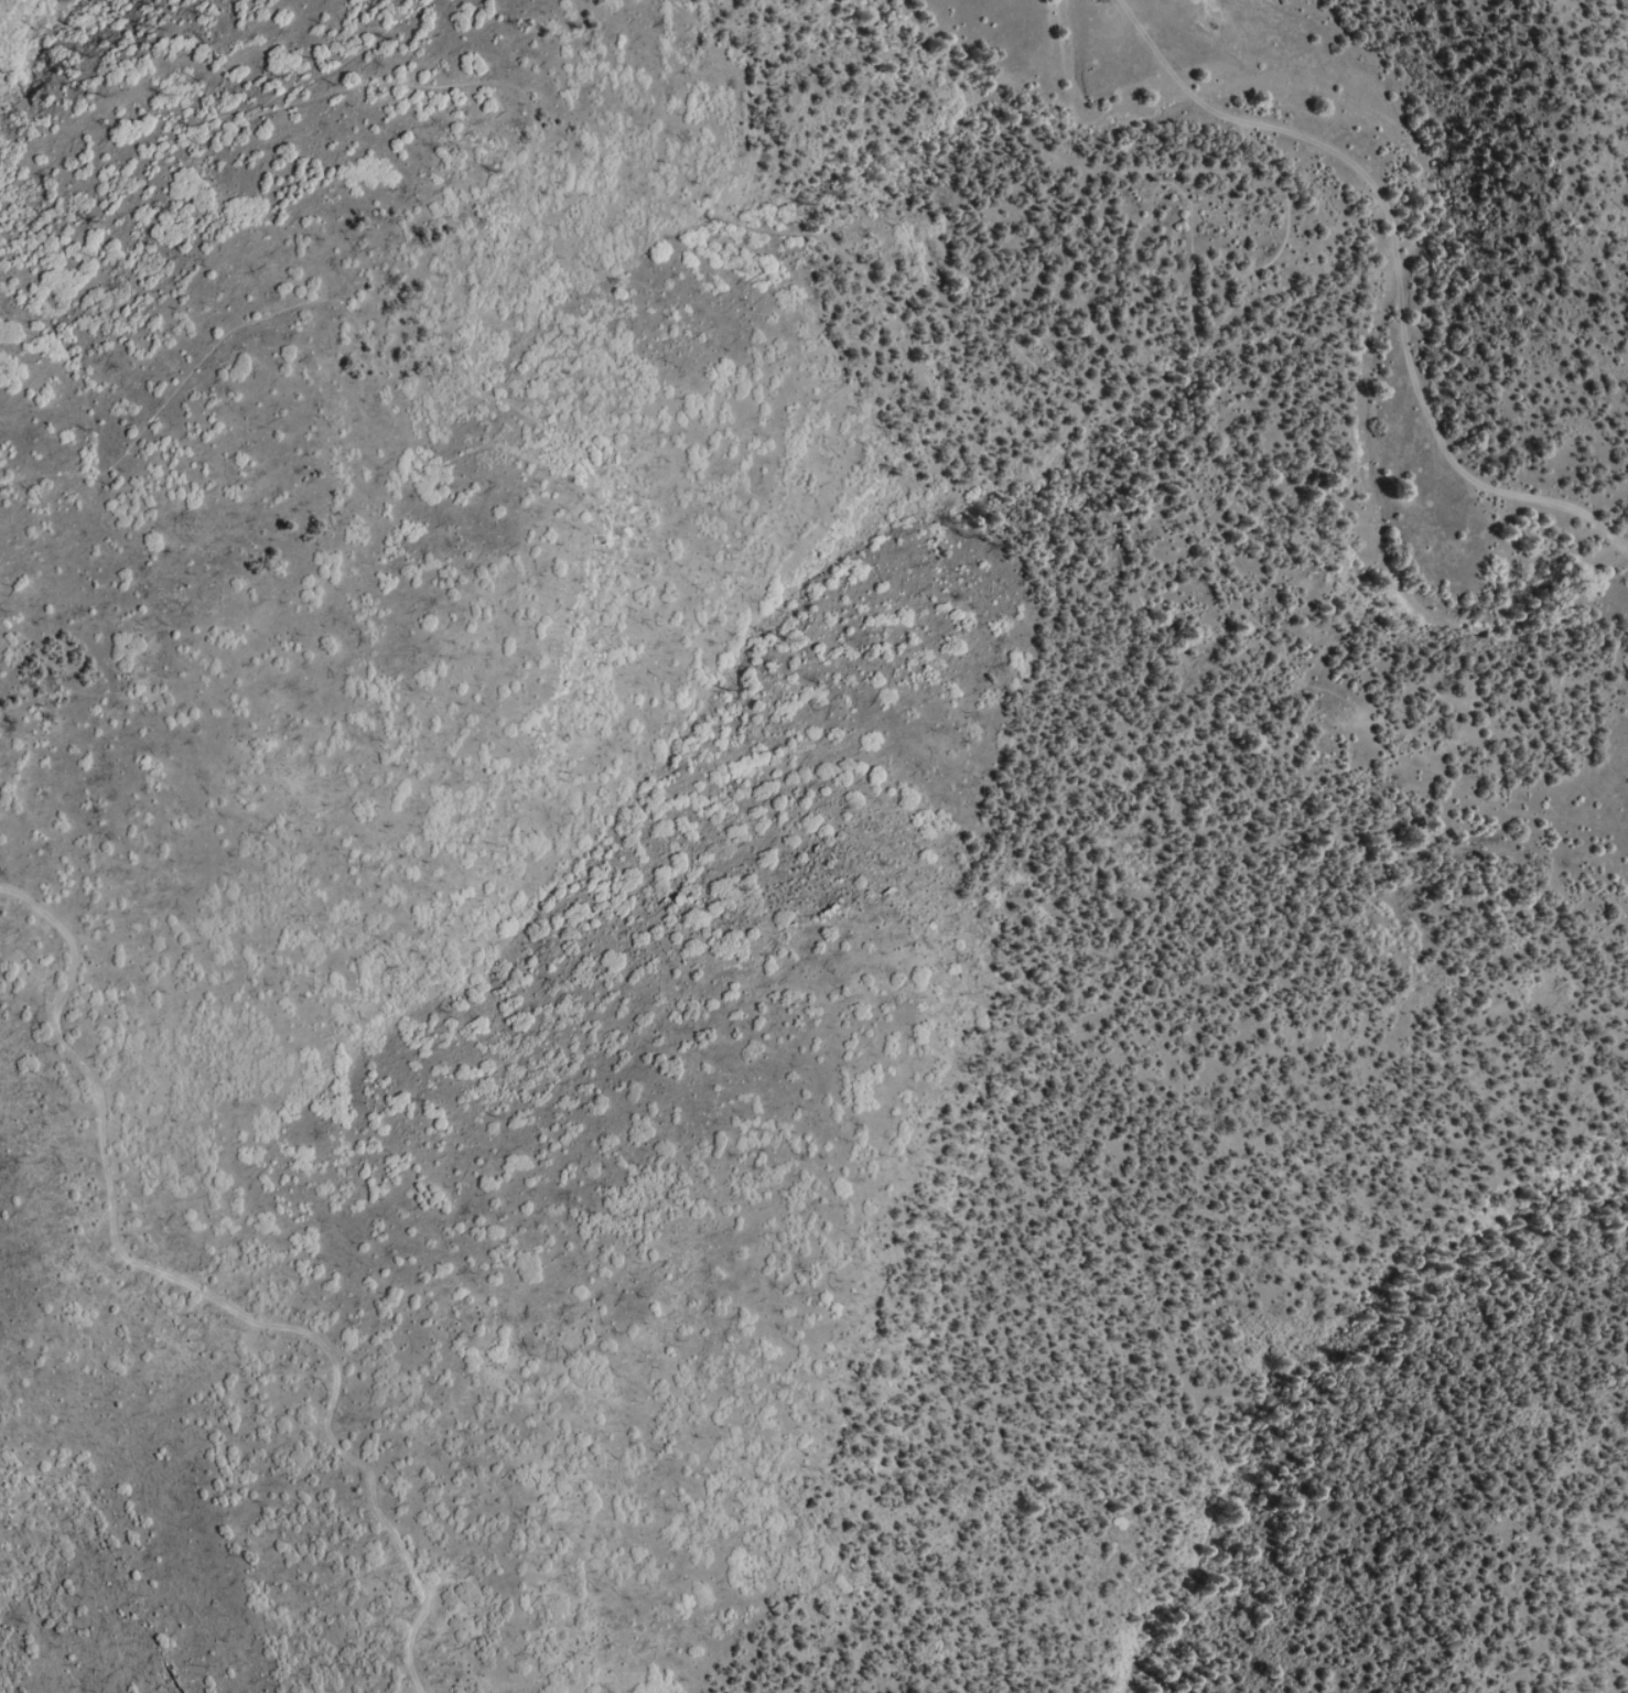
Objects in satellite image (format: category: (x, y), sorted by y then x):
road: (1398, 270)
road: (994, 316)
road: (530, 418)
road: (208, 1293)

